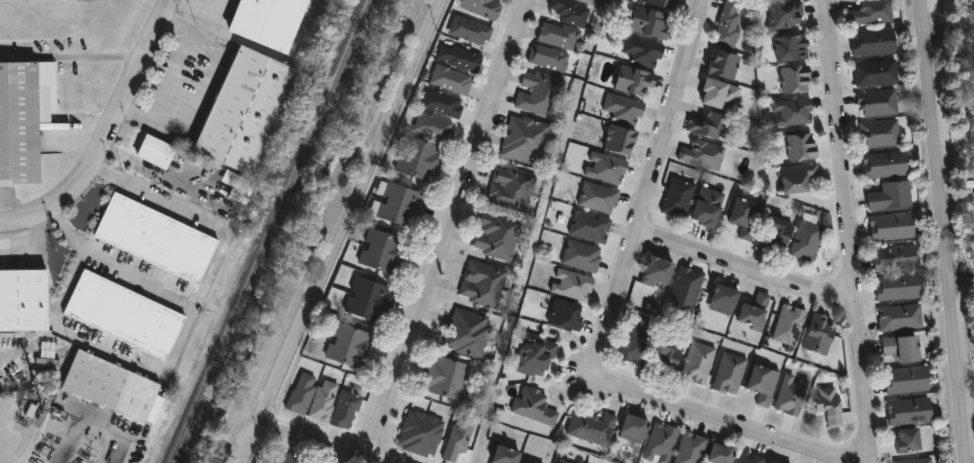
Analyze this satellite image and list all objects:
building: (503, 0)
building: (662, 3)
building: (484, 7)
building: (572, 11)
building: (873, 13)
building: (784, 16)
building: (271, 21)
building: (649, 23)
building: (727, 23)
building: (471, 31)
road: (950, 31)
building: (557, 36)
building: (876, 42)
building: (791, 49)
building: (641, 52)
building: (461, 58)
building: (549, 59)
building: (724, 66)
building: (878, 73)
building: (794, 80)
building: (453, 81)
building: (634, 82)
road: (205, 90)
building: (539, 95)
building: (720, 96)
building: (880, 103)
building: (445, 104)
building: (623, 109)
building: (248, 111)
building: (791, 113)
building: (25, 119)
building: (708, 126)
building: (435, 127)
building: (881, 134)
road: (107, 135)
building: (620, 140)
building: (526, 141)
building: (802, 148)
building: (159, 153)
building: (701, 154)
building: (421, 160)
road: (348, 163)
building: (887, 165)
building: (606, 169)
building: (797, 179)
building: (239, 187)
building: (512, 188)
building: (893, 197)
building: (598, 198)
building: (678, 198)
building: (400, 205)
building: (708, 208)
building: (746, 217)
building: (591, 227)
building: (894, 227)
road: (446, 230)
railway: (267, 231)
road: (344, 231)
road: (850, 231)
road: (944, 231)
building: (779, 232)
building: (498, 236)
building: (158, 239)
building: (807, 241)
road: (34, 249)
building: (383, 252)
building: (583, 257)
building: (897, 258)
road: (746, 268)
building: (659, 272)
road: (961, 275)
road: (206, 278)
building: (484, 284)
building: (574, 285)
building: (900, 287)
building: (687, 288)
building: (727, 296)
building: (25, 300)
building: (371, 300)
building: (756, 312)
building: (126, 315)
building: (568, 315)
building: (902, 318)
road: (609, 323)
building: (790, 325)
building: (25, 334)
building: (470, 334)
building: (821, 335)
building: (637, 343)
building: (353, 347)
building: (904, 349)
road: (111, 351)
building: (536, 357)
building: (668, 357)
building: (699, 364)
road: (261, 373)
building: (730, 374)
road: (966, 374)
building: (448, 378)
building: (909, 381)
building: (764, 384)
building: (114, 387)
building: (302, 393)
building: (792, 395)
building: (324, 401)
building: (831, 405)
building: (536, 407)
building: (347, 408)
building: (912, 412)
road: (115, 424)
building: (594, 428)
building: (636, 428)
building: (423, 434)
building: (461, 440)
road: (231, 441)
road: (304, 441)
building: (912, 441)
building: (662, 444)
building: (692, 448)
building: (722, 454)
building: (507, 455)
building: (287, 458)
building: (751, 458)
building: (917, 461)
building: (561, 462)
building: (771, 462)
building: (774, 462)

